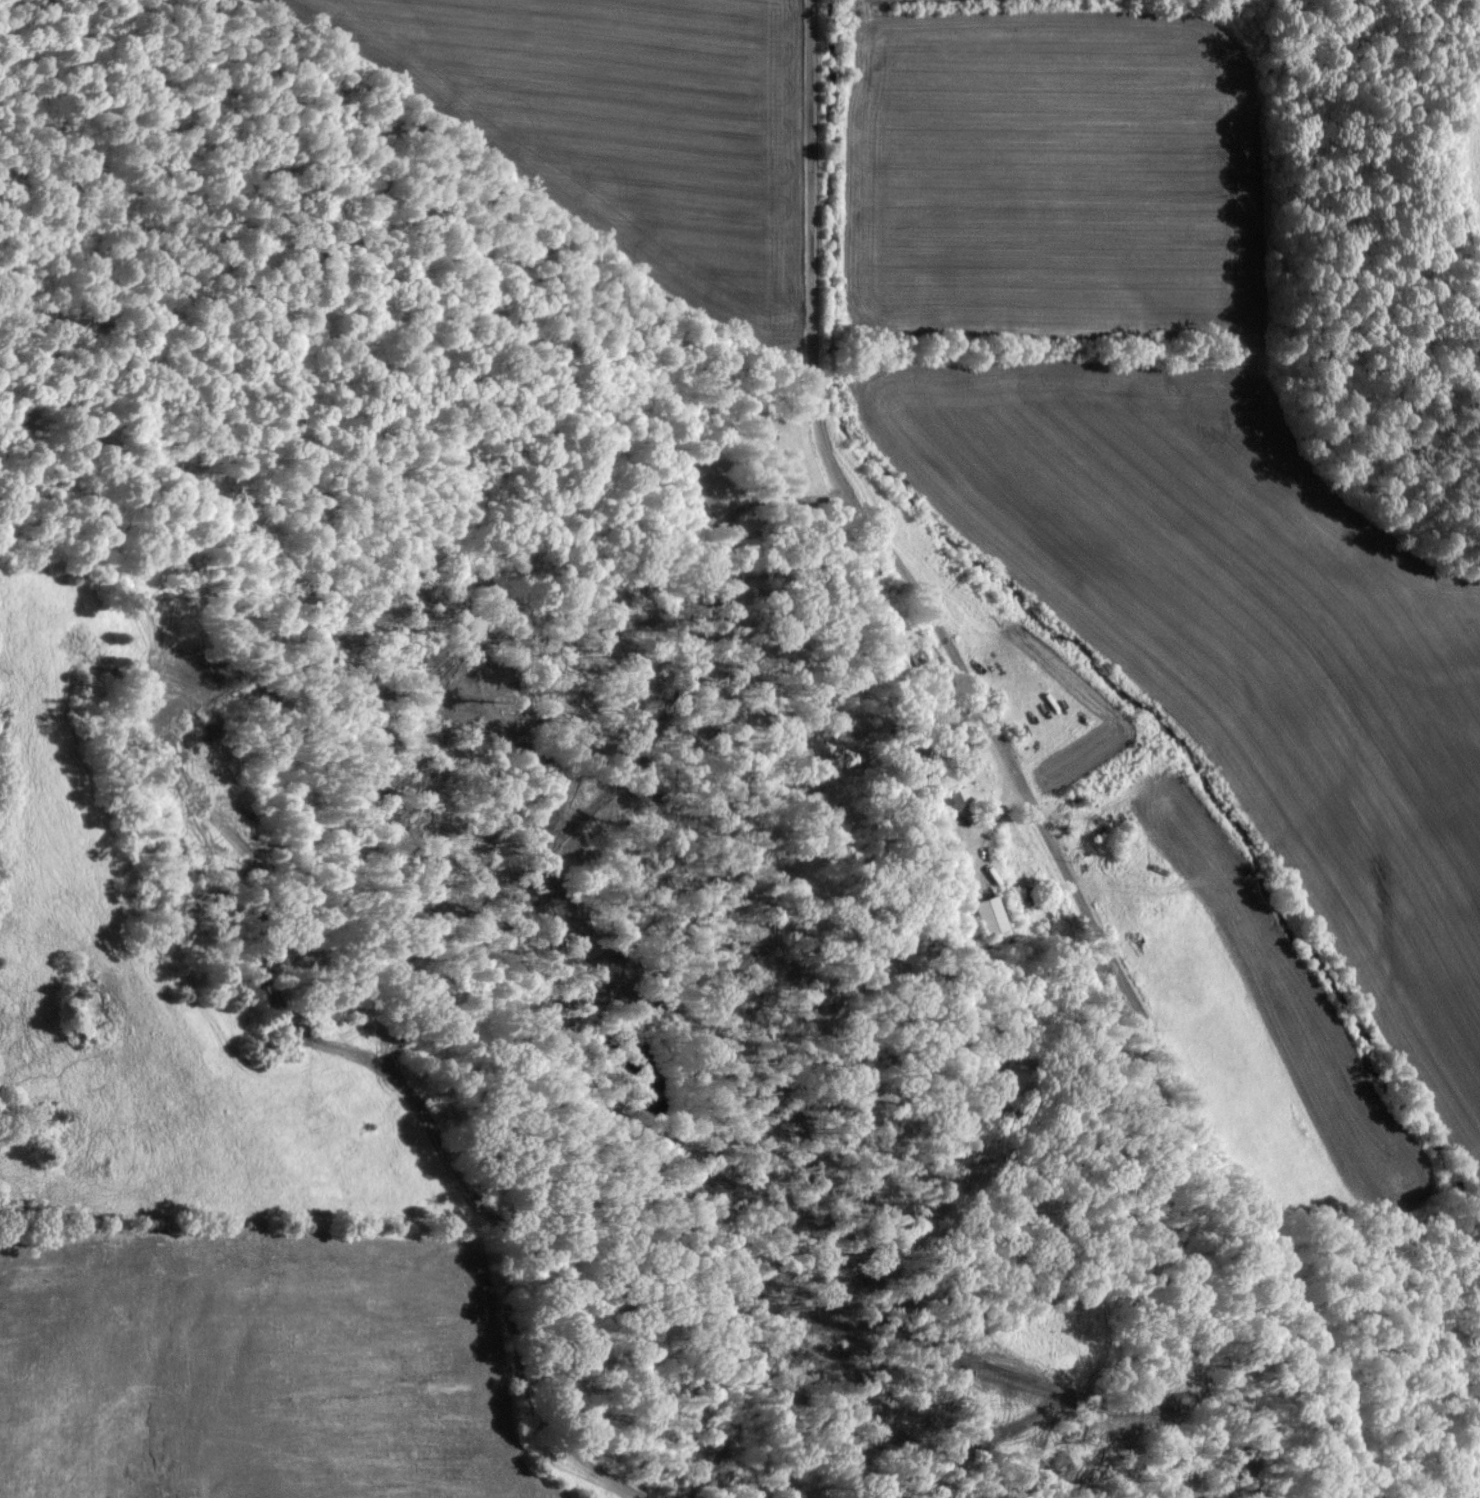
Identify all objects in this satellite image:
building: (710, 493)
road: (733, 509)
building: (912, 652)
road: (1009, 763)
building: (948, 797)
building: (987, 915)

